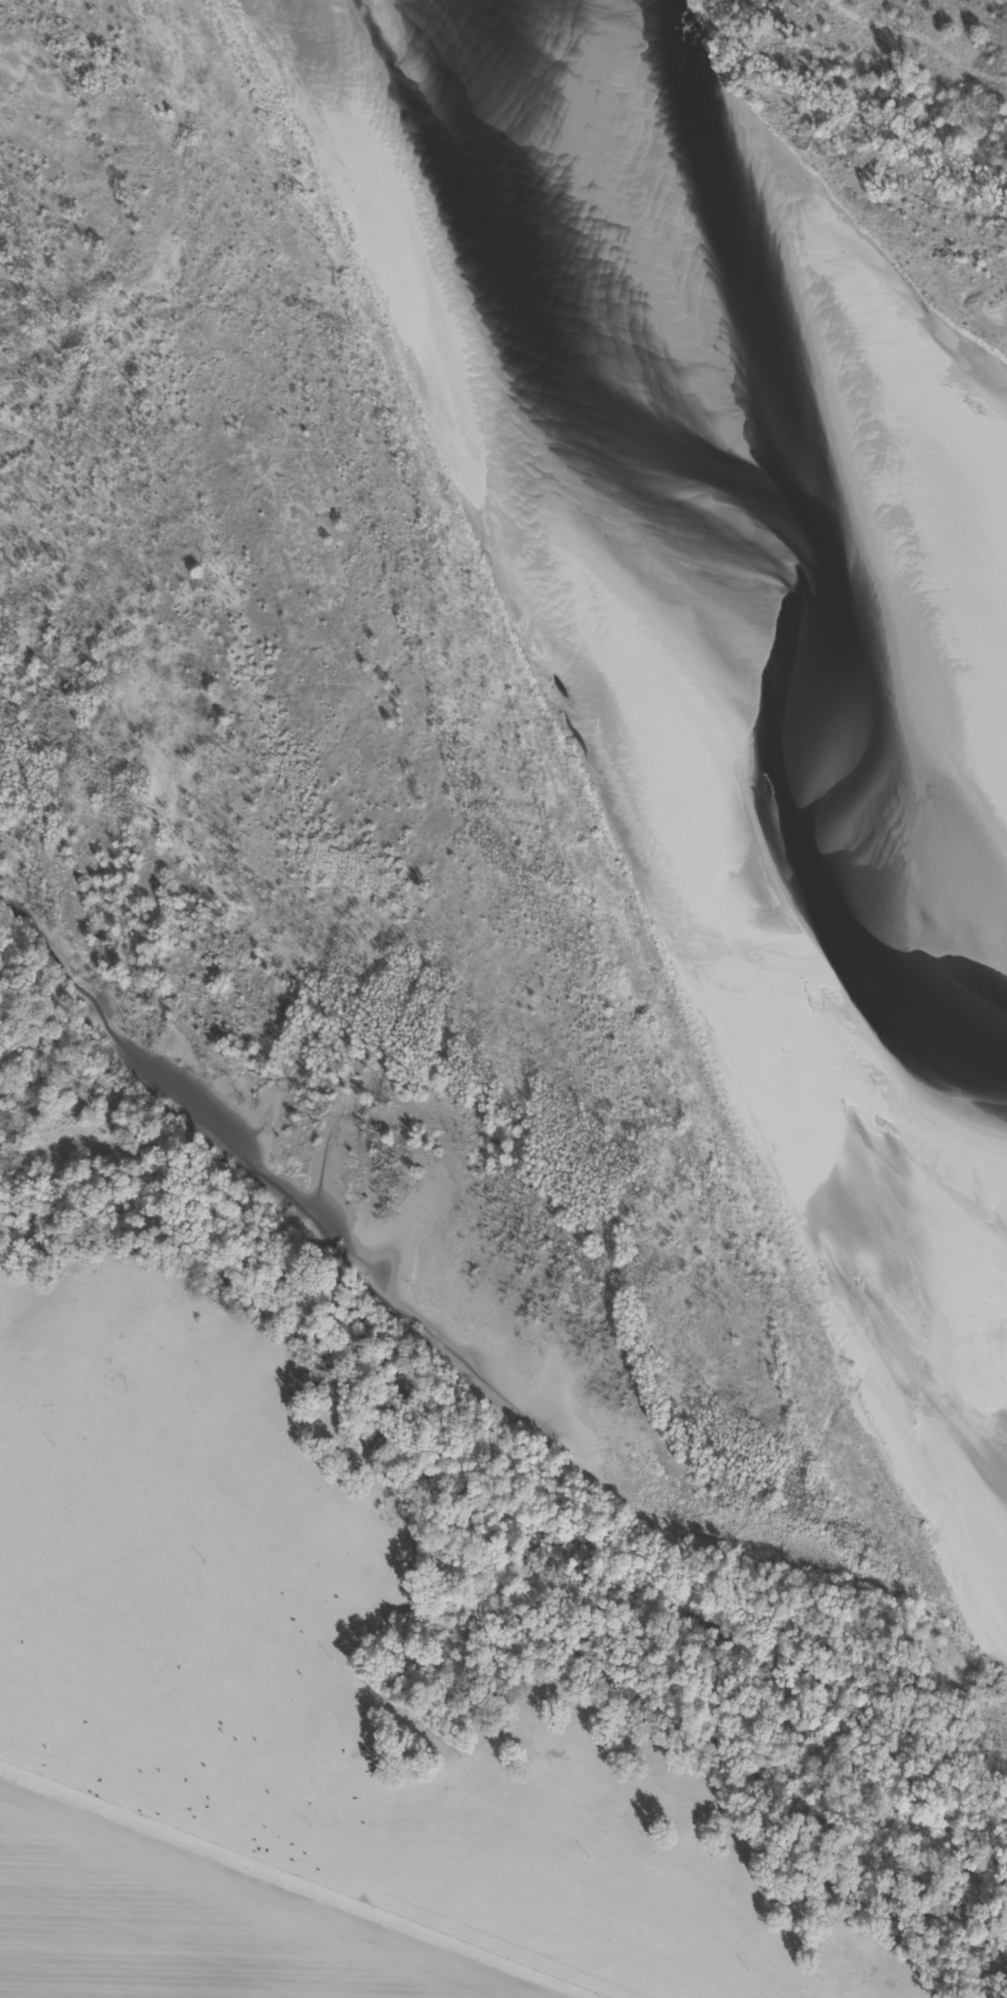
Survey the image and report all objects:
river: (769, 598)

